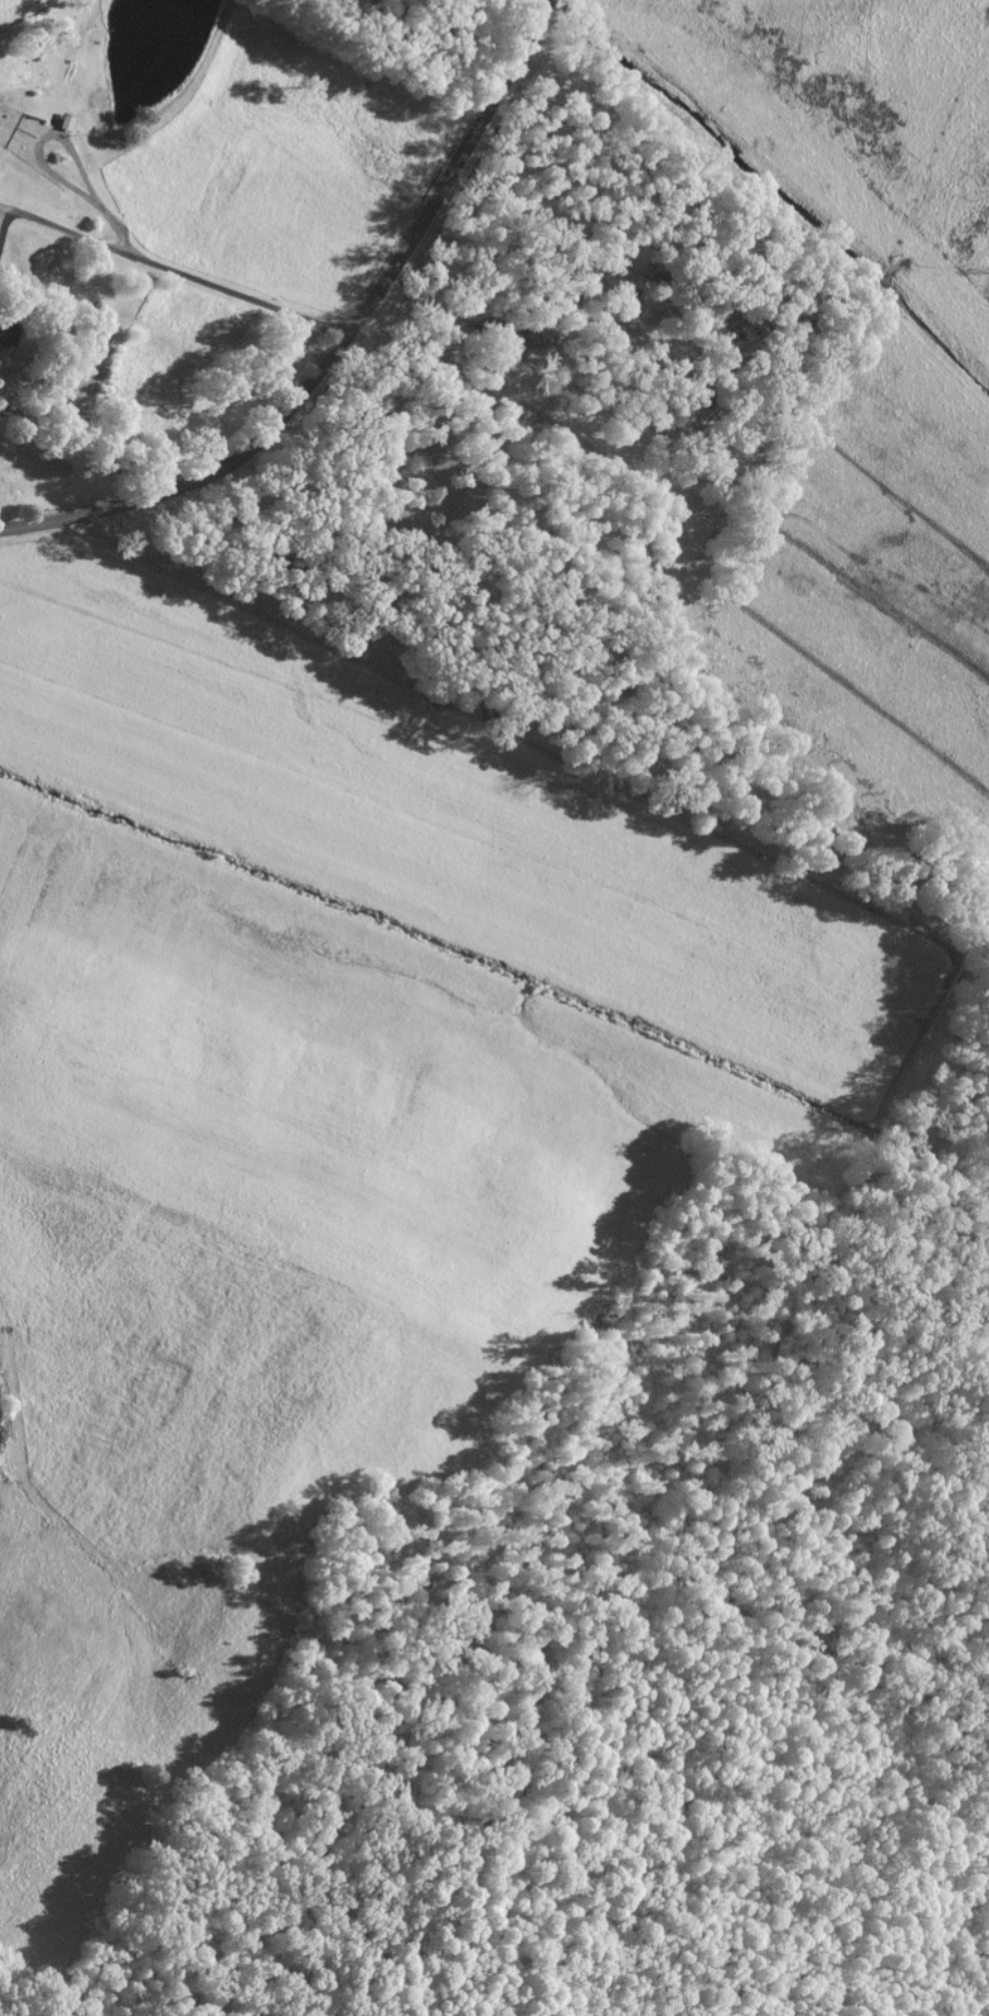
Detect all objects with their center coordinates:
road: (176, 269)
building: (7, 332)
road: (338, 344)
building: (108, 389)

